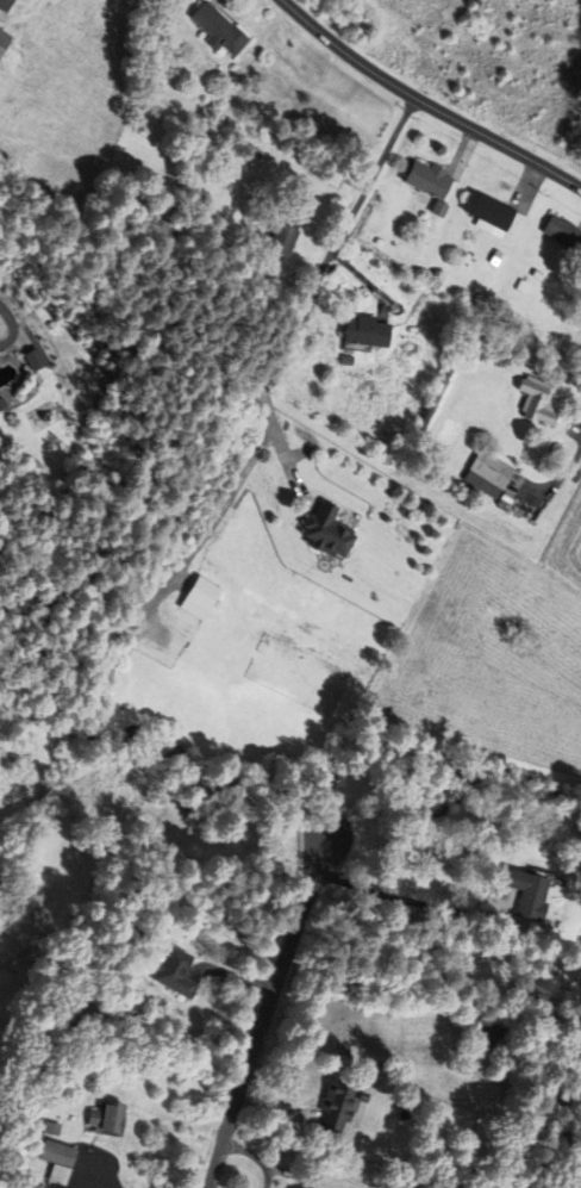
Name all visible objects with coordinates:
building: (5, 5)
building: (219, 30)
building: (4, 41)
road: (424, 105)
building: (431, 184)
building: (492, 213)
building: (562, 232)
building: (282, 238)
road: (312, 292)
road: (12, 330)
building: (367, 330)
building: (33, 360)
building: (537, 400)
building: (1, 403)
building: (489, 471)
road: (554, 483)
building: (326, 530)
building: (199, 598)
building: (531, 894)
road: (406, 902)
building: (176, 974)
road: (265, 1010)
building: (337, 1111)
building: (110, 1120)
building: (60, 1162)

